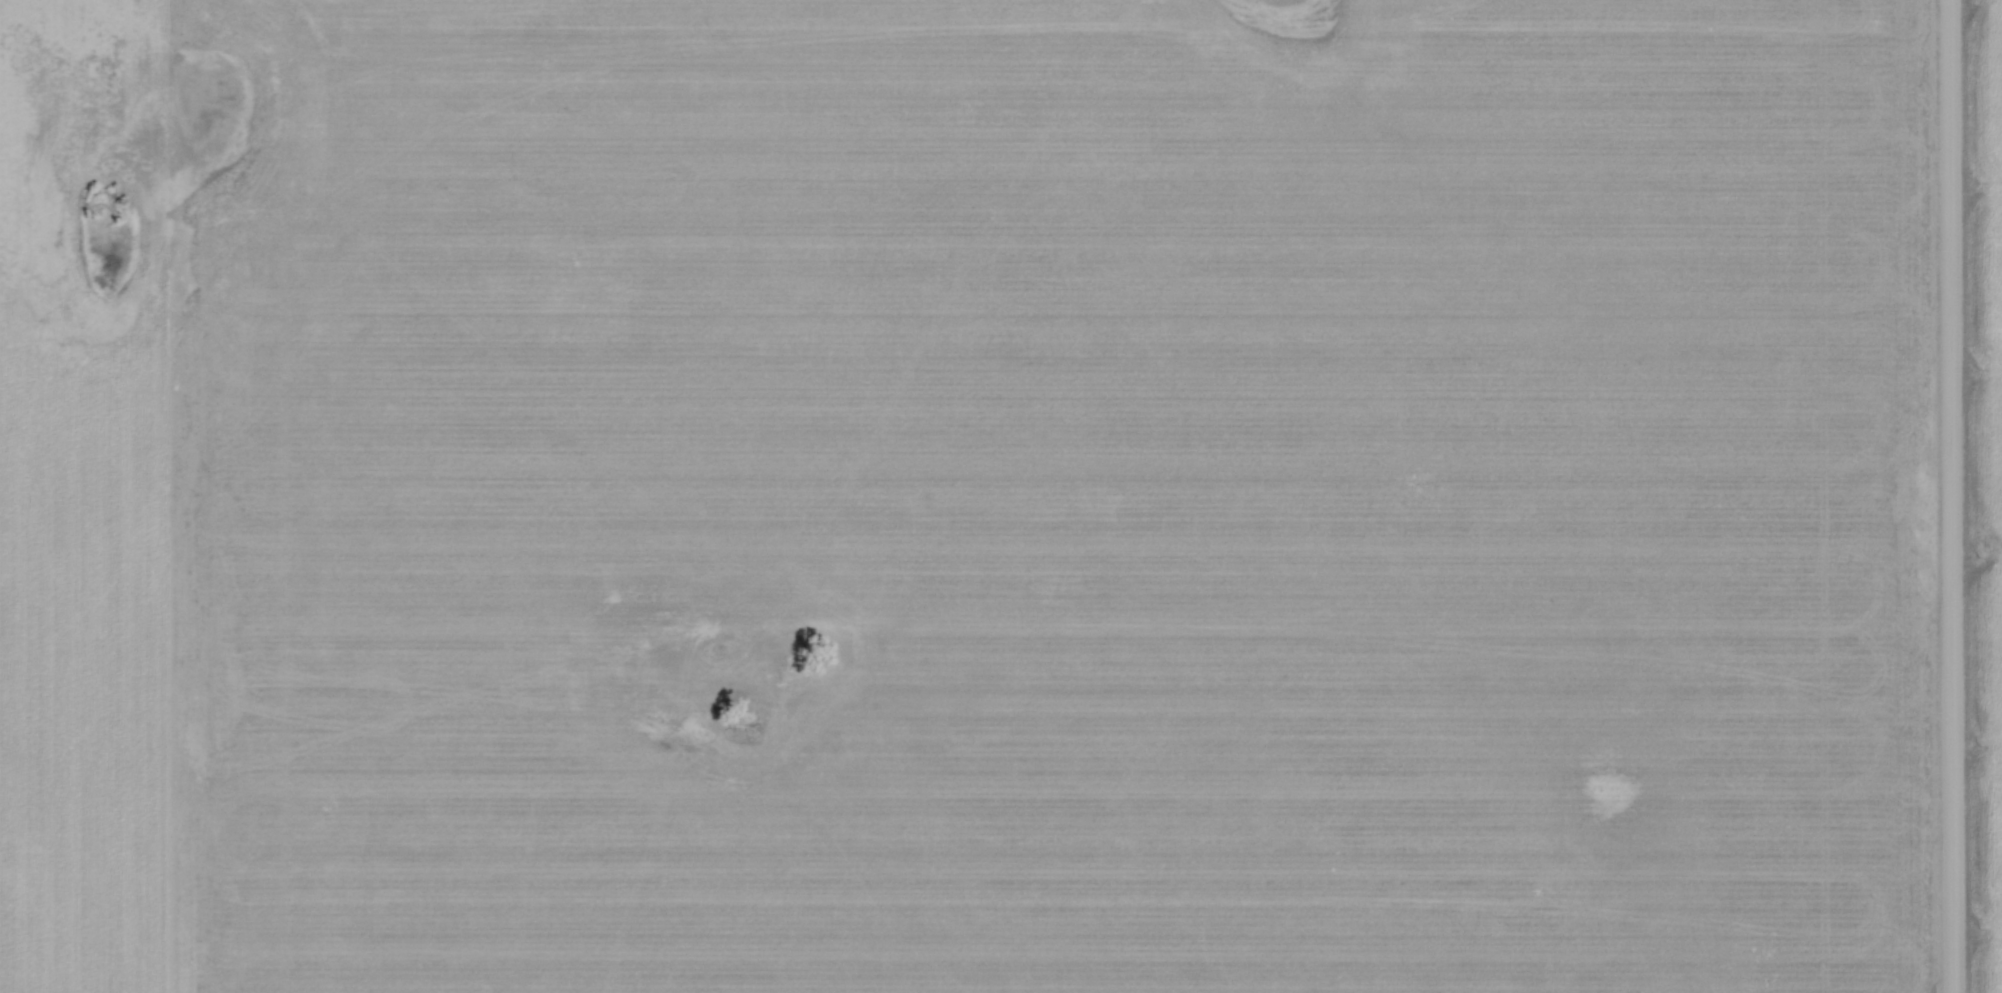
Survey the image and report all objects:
crop: (1985, 486)
crop: (967, 496)
road: (1951, 496)

